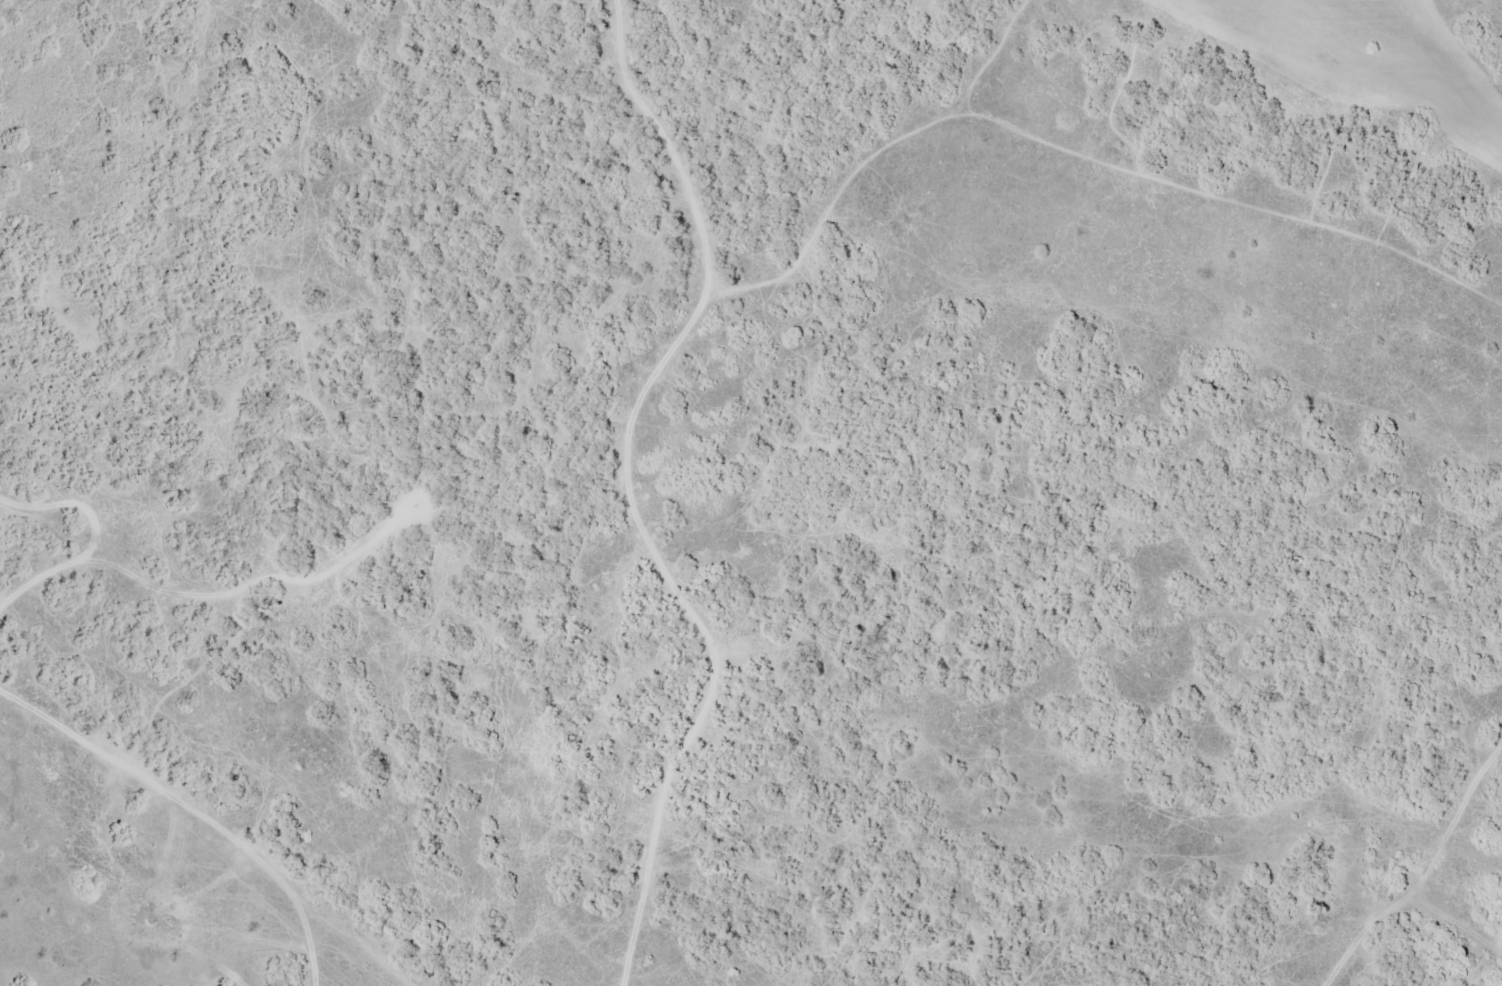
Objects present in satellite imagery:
road: (1107, 321)
road: (632, 481)

